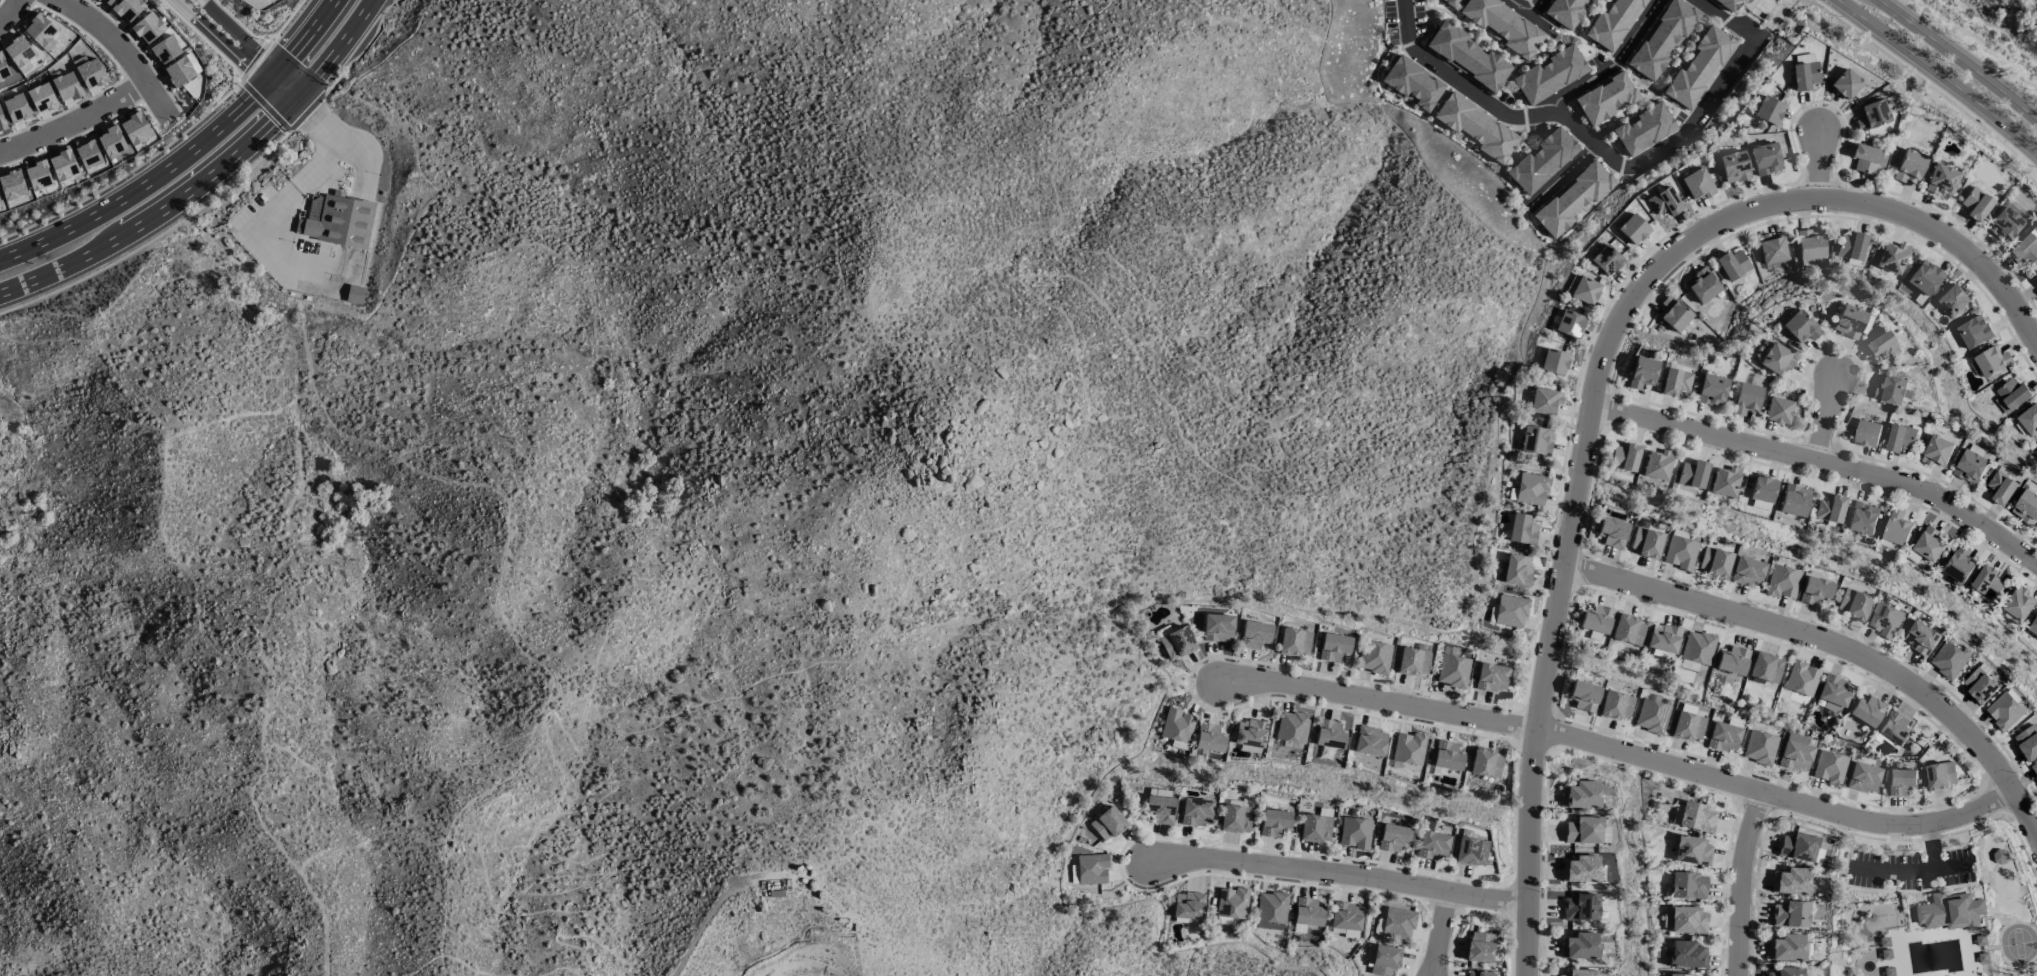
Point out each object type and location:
road: (1805, 0)
building: (105, 2)
building: (1449, 2)
road: (2033, 3)
building: (1726, 4)
road: (9, 8)
road: (1524, 8)
building: (127, 9)
building: (1565, 12)
road: (1767, 13)
building: (1765, 16)
road: (1723, 18)
road: (284, 21)
building: (1612, 22)
road: (237, 23)
road: (1245, 24)
building: (1502, 25)
building: (147, 27)
road: (1996, 27)
building: (40, 32)
road: (202, 38)
building: (1661, 38)
road: (116, 47)
road: (251, 47)
road: (365, 47)
building: (164, 49)
road: (232, 51)
building: (19, 54)
building: (1466, 55)
building: (1384, 56)
road: (1959, 58)
road: (251, 59)
road: (1611, 63)
building: (1696, 66)
building: (1377, 68)
building: (3, 69)
building: (179, 71)
traffic signals: (279, 71)
building: (89, 72)
road: (1938, 74)
building: (1549, 75)
building: (1803, 75)
traffic signals: (268, 83)
building: (1412, 83)
road: (1924, 83)
building: (1843, 84)
building: (66, 86)
park: (1643, 88)
building: (41, 97)
traffic signals: (295, 97)
building: (1605, 98)
road: (262, 105)
building: (16, 108)
road: (307, 109)
building: (1768, 110)
building: (1870, 115)
road: (73, 118)
road: (316, 121)
building: (2, 122)
building: (1474, 127)
building: (134, 128)
building: (1642, 128)
road: (1584, 135)
building: (111, 141)
road: (184, 153)
building: (87, 154)
building: (1765, 158)
building: (1864, 158)
building: (1542, 159)
building: (62, 165)
road: (1818, 165)
building: (1733, 166)
building: (1909, 166)
road: (127, 171)
building: (37, 175)
road: (1562, 175)
road: (208, 177)
building: (1941, 180)
building: (1696, 184)
building: (11, 185)
building: (1571, 198)
building: (1663, 202)
building: (1975, 204)
building: (342, 222)
building: (2004, 223)
building: (1632, 229)
road: (153, 236)
building: (1810, 243)
building: (1851, 246)
building: (2025, 247)
building: (1771, 250)
building: (1892, 258)
building: (1605, 260)
building: (1732, 264)
building: (1924, 277)
building: (2036, 278)
road: (1044, 282)
building: (1701, 285)
building: (1585, 290)
building: (355, 295)
building: (1952, 300)
building: (1673, 313)
building: (1848, 321)
building: (1568, 323)
building: (1800, 326)
building: (1974, 331)
building: (1881, 346)
building: (1776, 359)
building: (1553, 361)
building: (1993, 363)
building: (1642, 372)
building: (1675, 381)
building: (1890, 388)
building: (1711, 390)
road: (1595, 391)
building: (2012, 393)
building: (1746, 398)
building: (1544, 400)
building: (1778, 410)
building: (2029, 419)
road: (1826, 420)
building: (1867, 433)
building: (1900, 437)
building: (1536, 440)
building: (1937, 451)
building: (1624, 457)
road: (1823, 464)
building: (1657, 465)
building: (1970, 466)
building: (1692, 474)
building: (1725, 482)
building: (2001, 487)
building: (1531, 489)
building: (1762, 489)
building: (1794, 500)
building: (2026, 507)
building: (1830, 509)
building: (1862, 517)
building: (1896, 527)
building: (1522, 529)
building: (1611, 532)
building: (1645, 542)
building: (1929, 544)
building: (1679, 552)
building: (1714, 562)
building: (1959, 563)
building: (1516, 570)
building: (1747, 571)
building: (1987, 581)
building: (1782, 582)
building: (1814, 591)
building: (2018, 603)
building: (1852, 604)
building: (1510, 611)
building: (1596, 619)
building: (1884, 619)
building: (2033, 625)
building: (1217, 627)
building: (1628, 630)
building: (1254, 634)
building: (1663, 637)
building: (1921, 637)
building: (1294, 642)
building: (1176, 643)
building: (1333, 647)
building: (1697, 647)
road: (1834, 647)
building: (1374, 657)
building: (1948, 659)
building: (1732, 660)
building: (1412, 661)
building: (1688, 665)
building: (1765, 667)
building: (1452, 671)
building: (1491, 677)
building: (1801, 678)
building: (1979, 685)
building: (1833, 693)
building: (1583, 695)
building: (1799, 698)
building: (1615, 705)
building: (1866, 710)
building: (2004, 710)
building: (1650, 716)
building: (1176, 725)
building: (1687, 726)
building: (1291, 727)
building: (1894, 728)
building: (1249, 733)
building: (1329, 734)
building: (1723, 736)
building: (1209, 738)
building: (1369, 741)
building: (2027, 741)
building: (1759, 747)
building: (1407, 748)
road: (1622, 752)
building: (1794, 752)
building: (1447, 755)
building: (1486, 762)
building: (1828, 767)
building: (2034, 768)
building: (1940, 775)
building: (1862, 777)
building: (1900, 781)
building: (1580, 795)
building: (1160, 809)
building: (1196, 812)
building: (1697, 817)
building: (1235, 818)
building: (1274, 822)
building: (1107, 824)
building: (1315, 828)
building: (1582, 830)
building: (1354, 832)
building: (1393, 837)
building: (1432, 845)
building: (1797, 846)
road: (1929, 846)
road: (479, 847)
building: (1470, 851)
building: (1692, 851)
building: (1999, 856)
road: (511, 860)
road: (1948, 865)
building: (1580, 868)
building: (1091, 869)
road: (1893, 869)
road: (1340, 874)
building: (1790, 880)
road: (1741, 883)
building: (1688, 885)
building: (1231, 903)
building: (1188, 905)
building: (1580, 907)
building: (1270, 910)
building: (1950, 911)
building: (1307, 912)
building: (1789, 914)
building: (1344, 916)
building: (1687, 920)
road: (704, 923)
building: (1397, 923)
road: (1440, 934)
park: (2017, 942)
building: (1579, 945)
building: (1478, 947)
building: (1786, 947)
building: (1686, 954)
building: (1368, 955)
road: (460, 961)
building: (1383, 961)
road: (559, 966)
building: (1578, 972)
building: (1782, 972)
building: (1478, 973)
building: (1682, 975)

